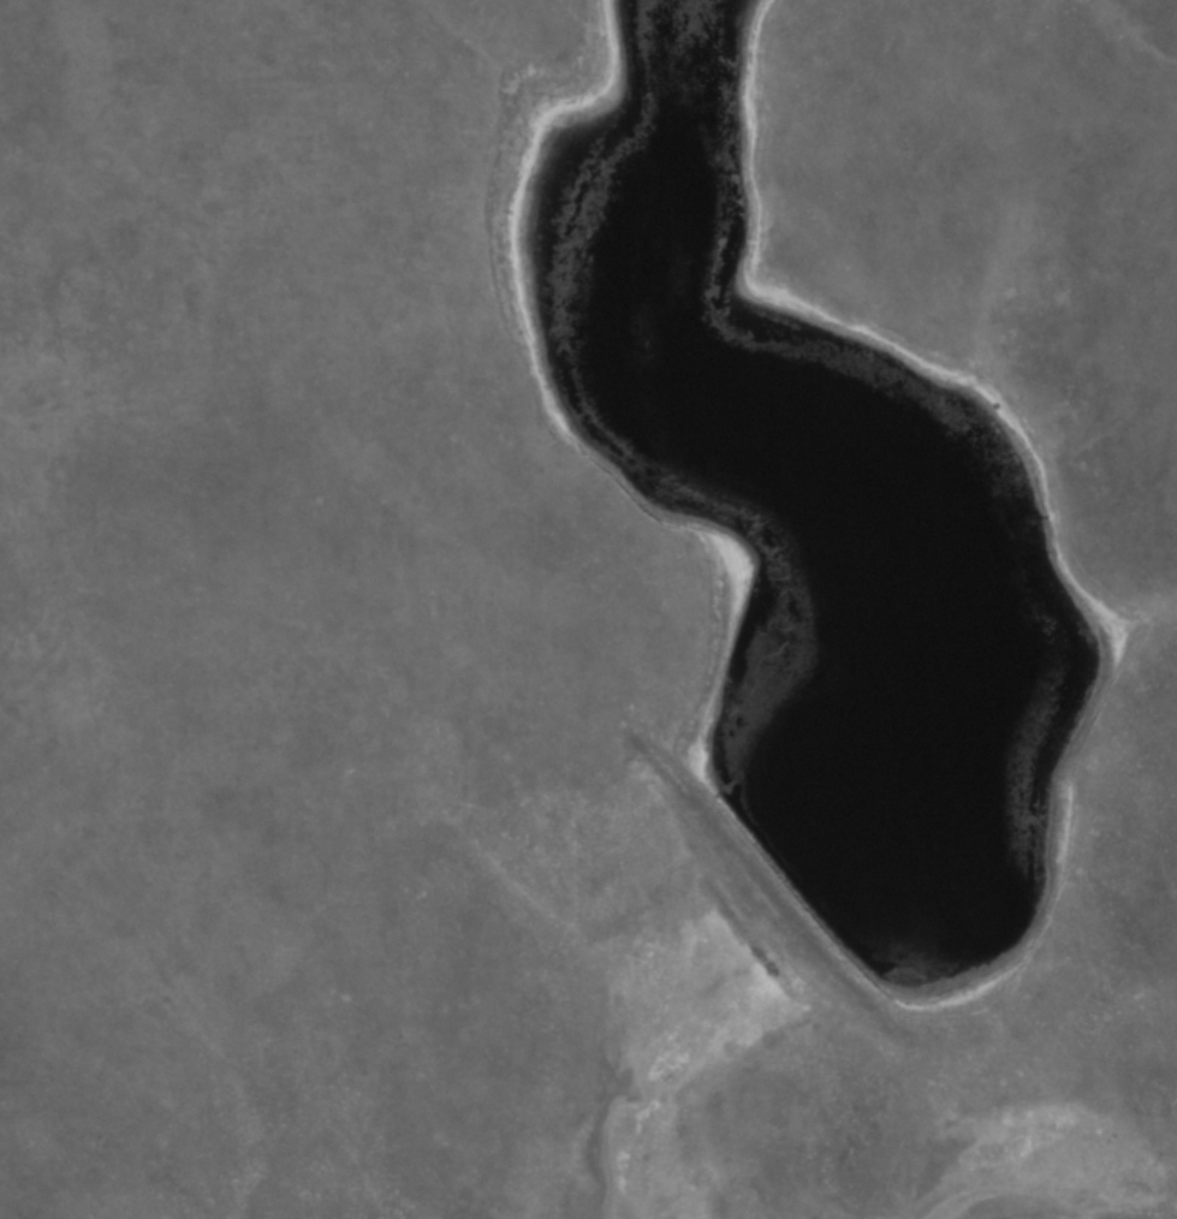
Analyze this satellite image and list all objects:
dam: (760, 874)

